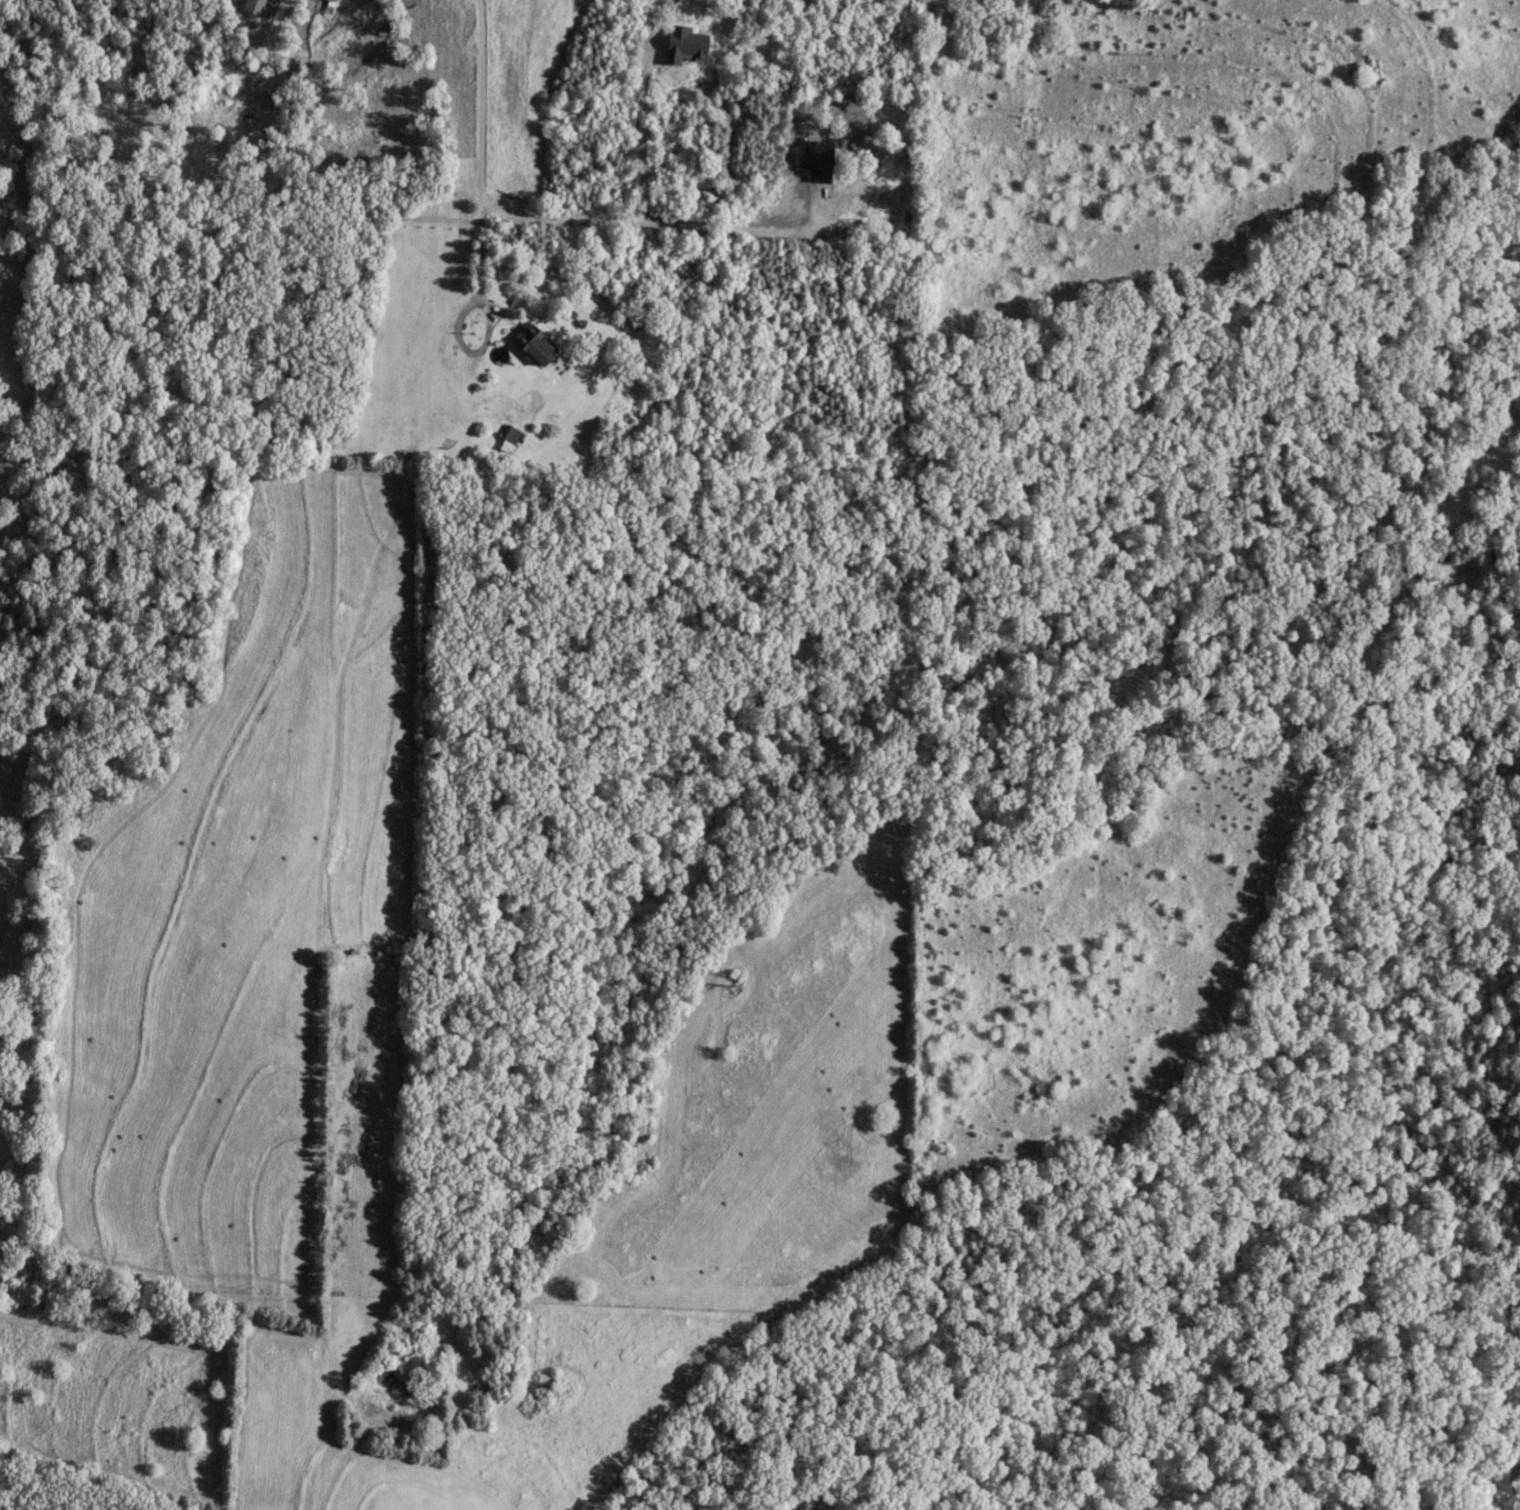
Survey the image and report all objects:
building: (252, 5)
road: (481, 163)
road: (664, 228)
building: (534, 341)
building: (509, 432)

